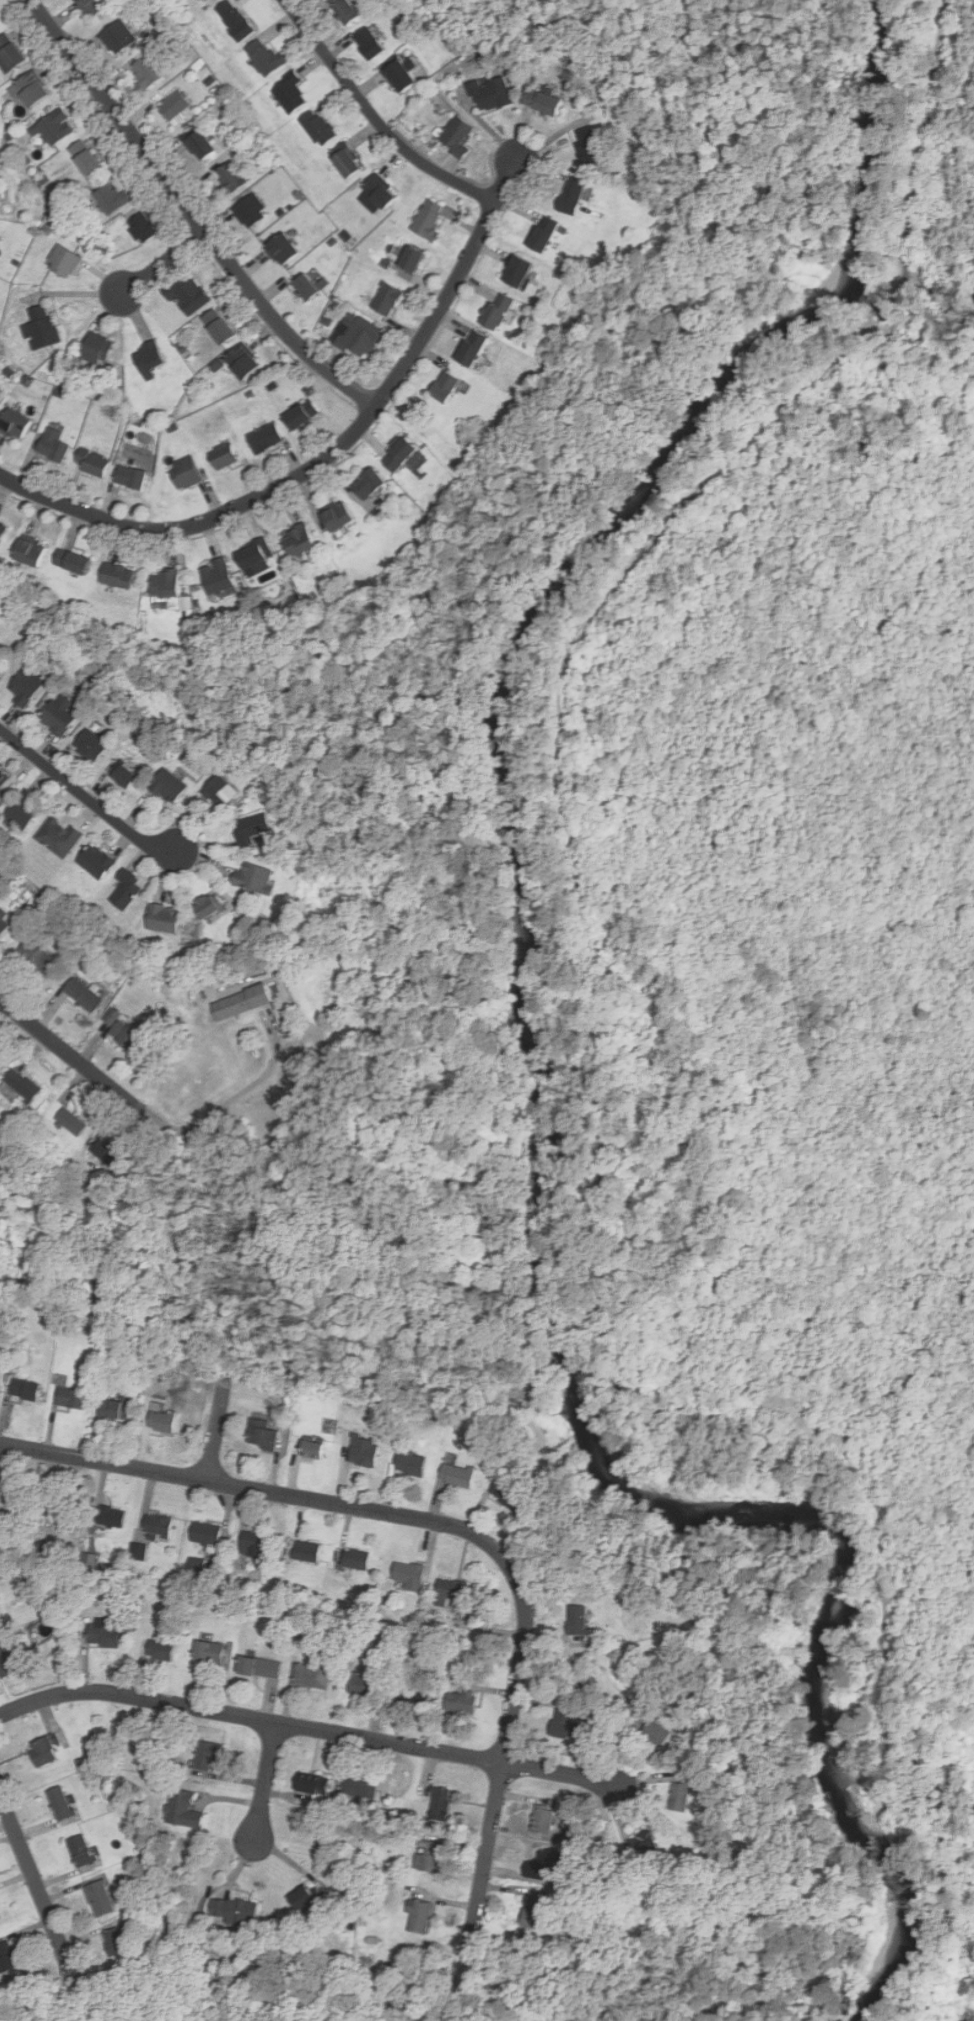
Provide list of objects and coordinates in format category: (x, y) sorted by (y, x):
building: (93, 7)
building: (345, 10)
building: (234, 21)
building: (0, 22)
building: (118, 37)
building: (368, 44)
building: (10, 54)
building: (263, 57)
river: (878, 62)
building: (147, 73)
building: (399, 78)
building: (28, 91)
building: (290, 94)
building: (491, 95)
building: (541, 103)
building: (174, 105)
road: (373, 119)
building: (54, 128)
building: (317, 128)
building: (456, 137)
building: (200, 146)
building: (589, 147)
building: (84, 159)
building: (346, 163)
building: (230, 177)
building: (379, 192)
building: (571, 196)
building: (109, 199)
building: (251, 211)
road: (192, 213)
river: (873, 213)
building: (427, 219)
building: (142, 228)
building: (542, 235)
building: (282, 249)
building: (411, 259)
building: (63, 262)
road: (164, 262)
building: (516, 271)
building: (305, 287)
building: (186, 294)
building: (386, 299)
building: (495, 312)
building: (217, 326)
building: (41, 328)
building: (356, 336)
building: (97, 348)
building: (471, 348)
building: (148, 359)
building: (241, 362)
building: (444, 387)
building: (300, 414)
building: (14, 424)
building: (264, 437)
building: (53, 445)
building: (398, 454)
building: (222, 456)
road: (327, 456)
building: (92, 462)
building: (185, 472)
building: (130, 477)
building: (367, 482)
building: (337, 515)
building: (2, 528)
building: (297, 540)
building: (29, 551)
building: (253, 553)
building: (72, 561)
building: (117, 575)
building: (216, 576)
river: (564, 579)
building: (165, 583)
building: (2, 663)
building: (26, 686)
building: (58, 714)
building: (91, 745)
building: (124, 776)
building: (3, 778)
building: (168, 786)
building: (220, 791)
road: (87, 798)
building: (23, 810)
building: (251, 827)
building: (58, 837)
building: (95, 861)
building: (252, 877)
building: (125, 890)
building: (207, 906)
building: (162, 918)
building: (3, 924)
building: (37, 958)
building: (82, 994)
building: (240, 1002)
building: (113, 1016)
building: (126, 1034)
road: (74, 1054)
building: (21, 1083)
road: (236, 1095)
river: (541, 1119)
building: (70, 1121)
building: (105, 1151)
building: (24, 1390)
building: (71, 1398)
building: (115, 1409)
building: (161, 1421)
road: (216, 1435)
building: (265, 1436)
building: (311, 1450)
building: (364, 1452)
building: (410, 1464)
building: (457, 1475)
building: (505, 1493)
building: (62, 1510)
building: (110, 1516)
building: (157, 1526)
road: (451, 1526)
building: (206, 1533)
building: (252, 1541)
building: (138, 1551)
building: (307, 1551)
building: (356, 1559)
building: (198, 1565)
river: (843, 1567)
building: (408, 1573)
building: (451, 1589)
building: (0, 1620)
building: (577, 1620)
building: (103, 1639)
building: (159, 1651)
building: (209, 1651)
building: (6, 1661)
building: (259, 1667)
building: (312, 1676)
building: (360, 1684)
building: (414, 1694)
building: (459, 1701)
building: (564, 1723)
road: (307, 1728)
building: (655, 1731)
building: (42, 1751)
building: (207, 1753)
road: (265, 1781)
building: (312, 1783)
building: (360, 1786)
building: (679, 1794)
building: (59, 1802)
building: (439, 1802)
building: (182, 1809)
building: (544, 1818)
building: (641, 1841)
building: (81, 1849)
building: (429, 1855)
building: (546, 1866)
road: (38, 1888)
building: (100, 1896)
building: (301, 1897)
building: (234, 1910)
building: (532, 1912)
building: (419, 1916)
building: (114, 1940)
building: (6, 1957)

